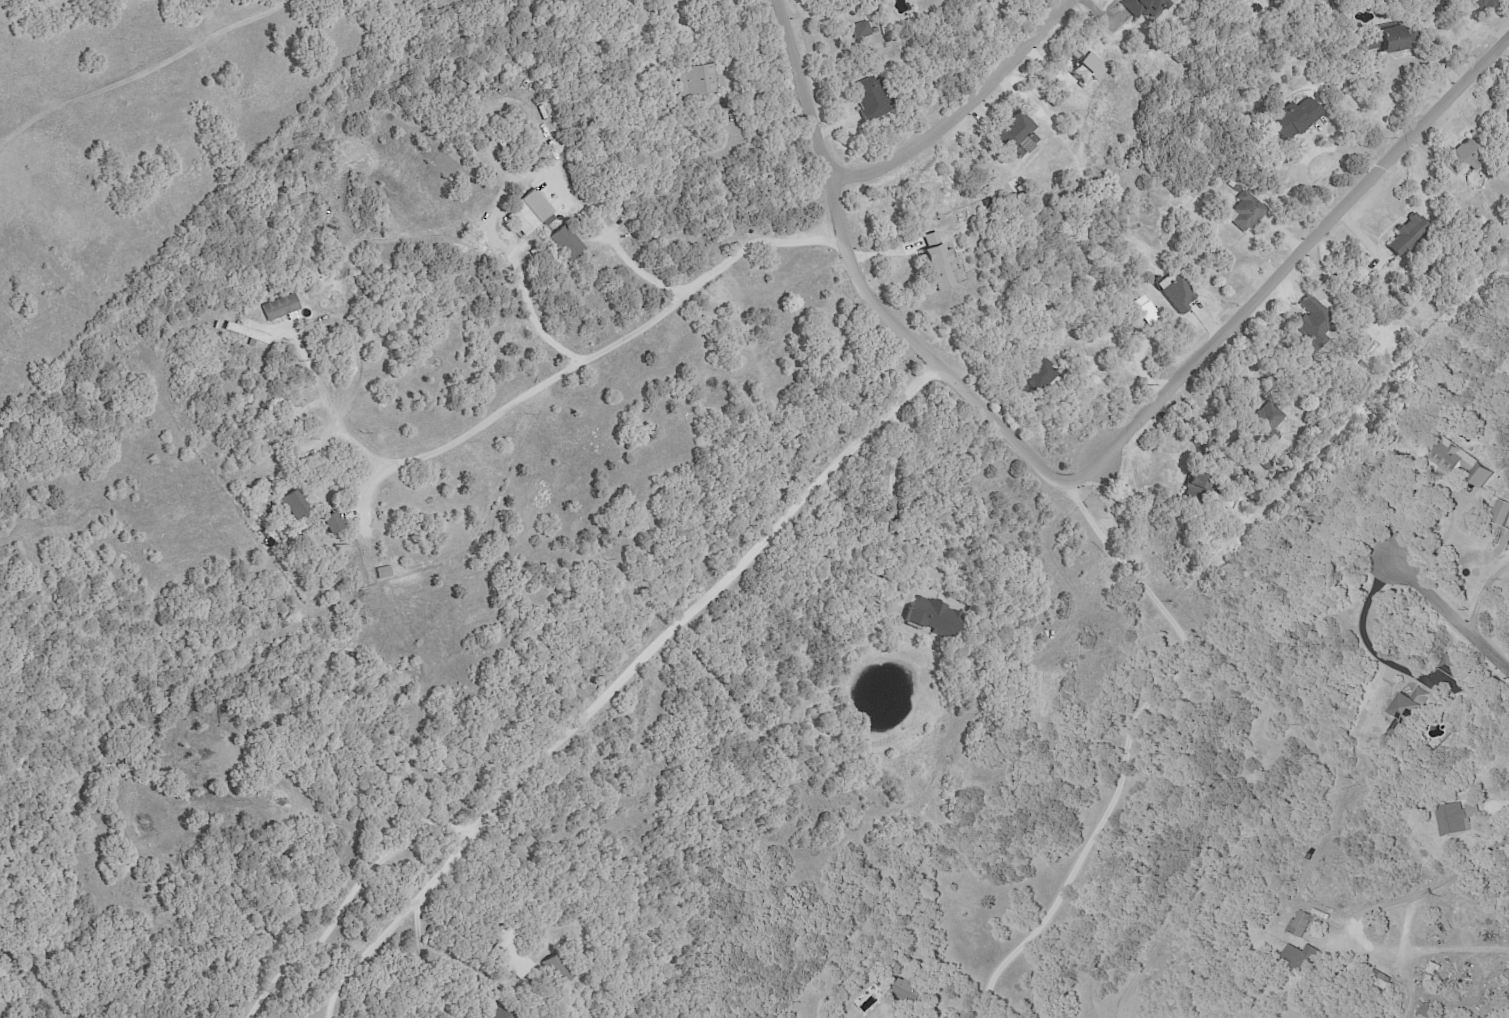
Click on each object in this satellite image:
building: (1478, 3)
building: (1144, 7)
building: (858, 29)
road: (999, 31)
building: (1383, 40)
building: (1081, 68)
road: (156, 78)
building: (696, 79)
building: (864, 98)
road: (969, 110)
building: (1292, 119)
building: (1010, 130)
road: (1305, 154)
building: (1462, 154)
building: (1443, 170)
road: (517, 183)
building: (1242, 211)
building: (524, 213)
building: (1403, 234)
building: (561, 242)
road: (1298, 260)
building: (932, 261)
road: (870, 288)
building: (1174, 292)
building: (277, 306)
building: (1143, 310)
building: (1309, 320)
building: (247, 336)
building: (1035, 378)
road: (548, 381)
building: (1263, 420)
building: (1447, 457)
building: (1477, 476)
building: (1193, 485)
building: (284, 504)
road: (899, 504)
building: (1499, 513)
building: (322, 522)
road: (1445, 533)
road: (1067, 582)
road: (1482, 590)
road: (1453, 612)
building: (927, 615)
road: (1365, 641)
road: (617, 680)
building: (1404, 712)
road: (1127, 744)
building: (1452, 818)
road: (348, 896)
road: (1362, 920)
road: (1408, 923)
building: (1297, 924)
building: (508, 955)
building: (1296, 957)
road: (429, 963)
building: (552, 969)
building: (1376, 981)
building: (909, 990)

